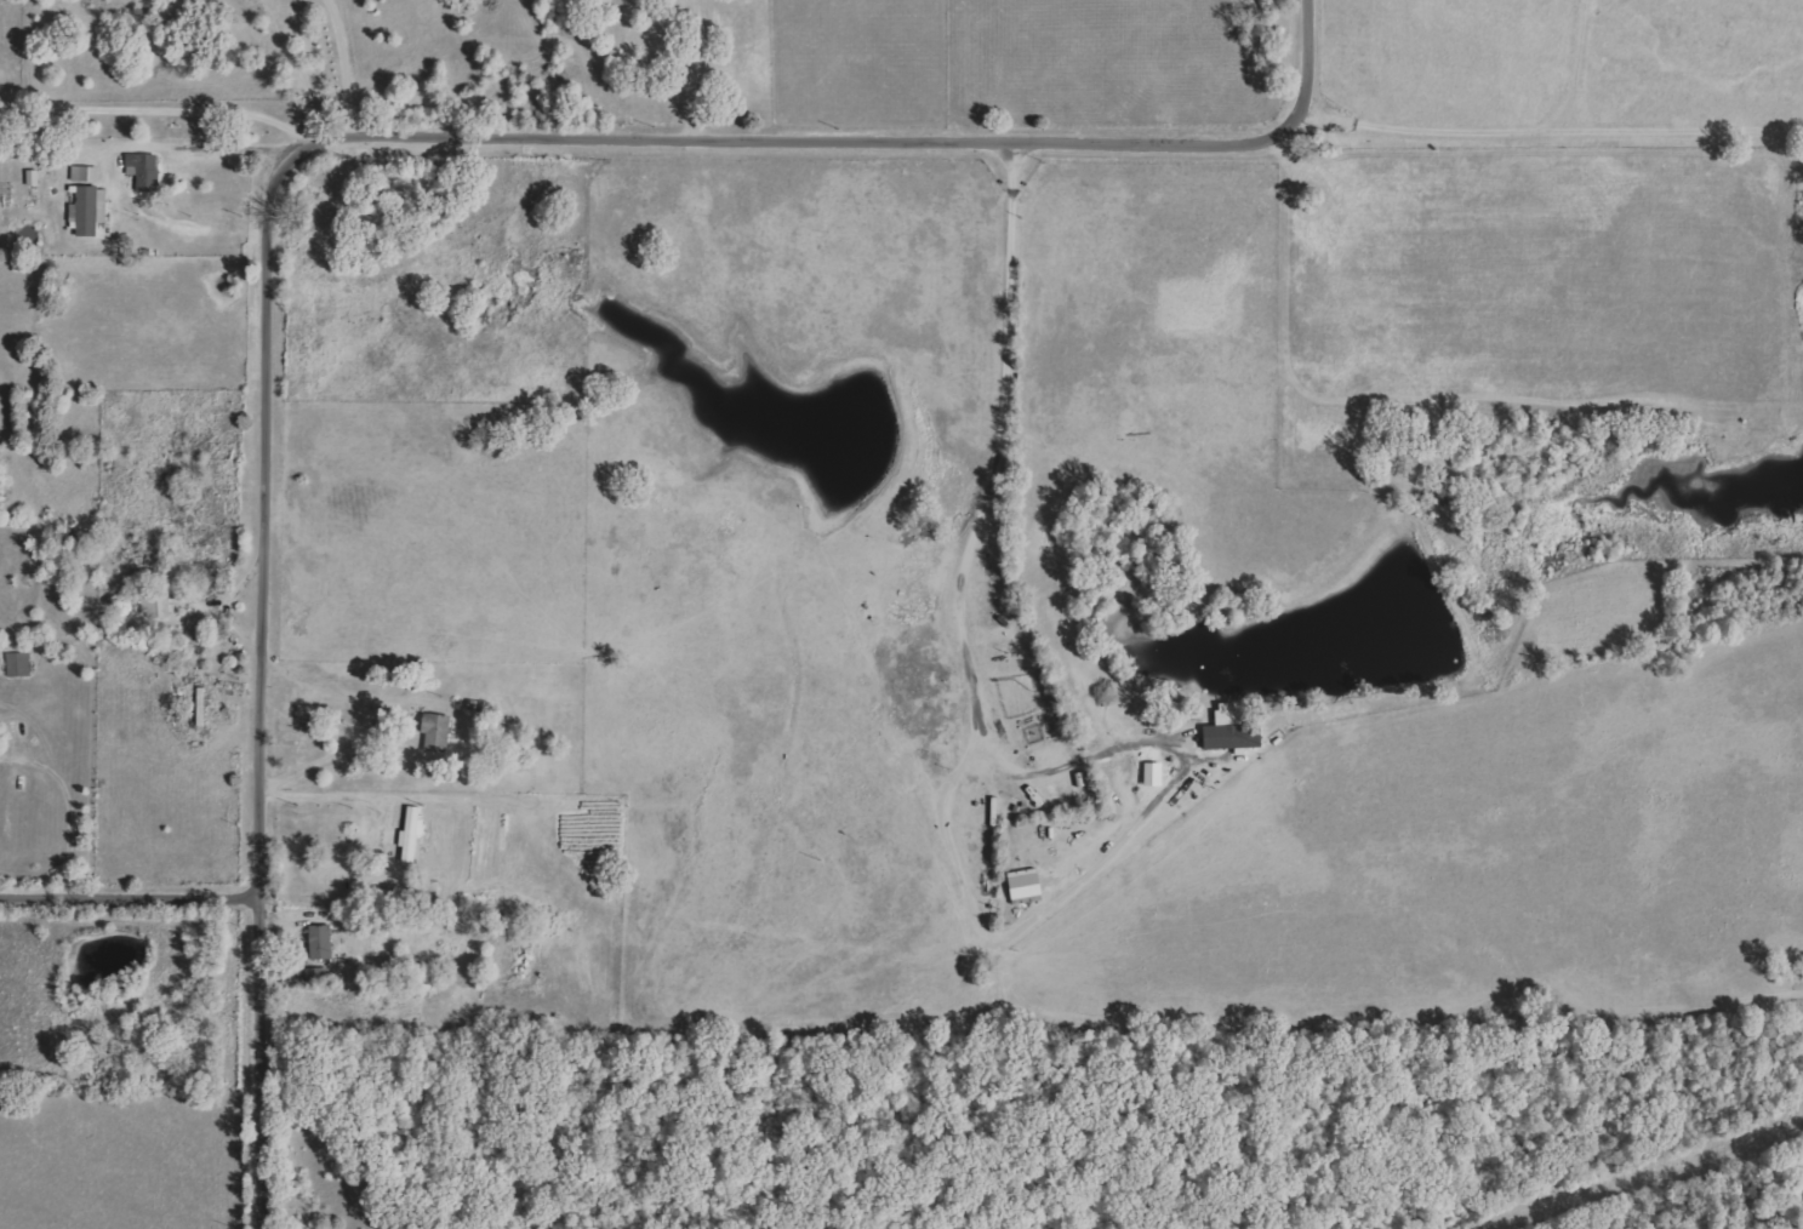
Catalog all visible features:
road: (687, 68)
road: (340, 70)
road: (156, 103)
road: (312, 145)
road: (199, 148)
building: (147, 171)
building: (92, 175)
building: (91, 210)
building: (158, 605)
building: (21, 664)
building: (1237, 731)
building: (439, 732)
road: (1028, 770)
road: (105, 793)
road: (72, 811)
building: (415, 834)
road: (130, 887)
building: (324, 942)
building: (316, 976)

